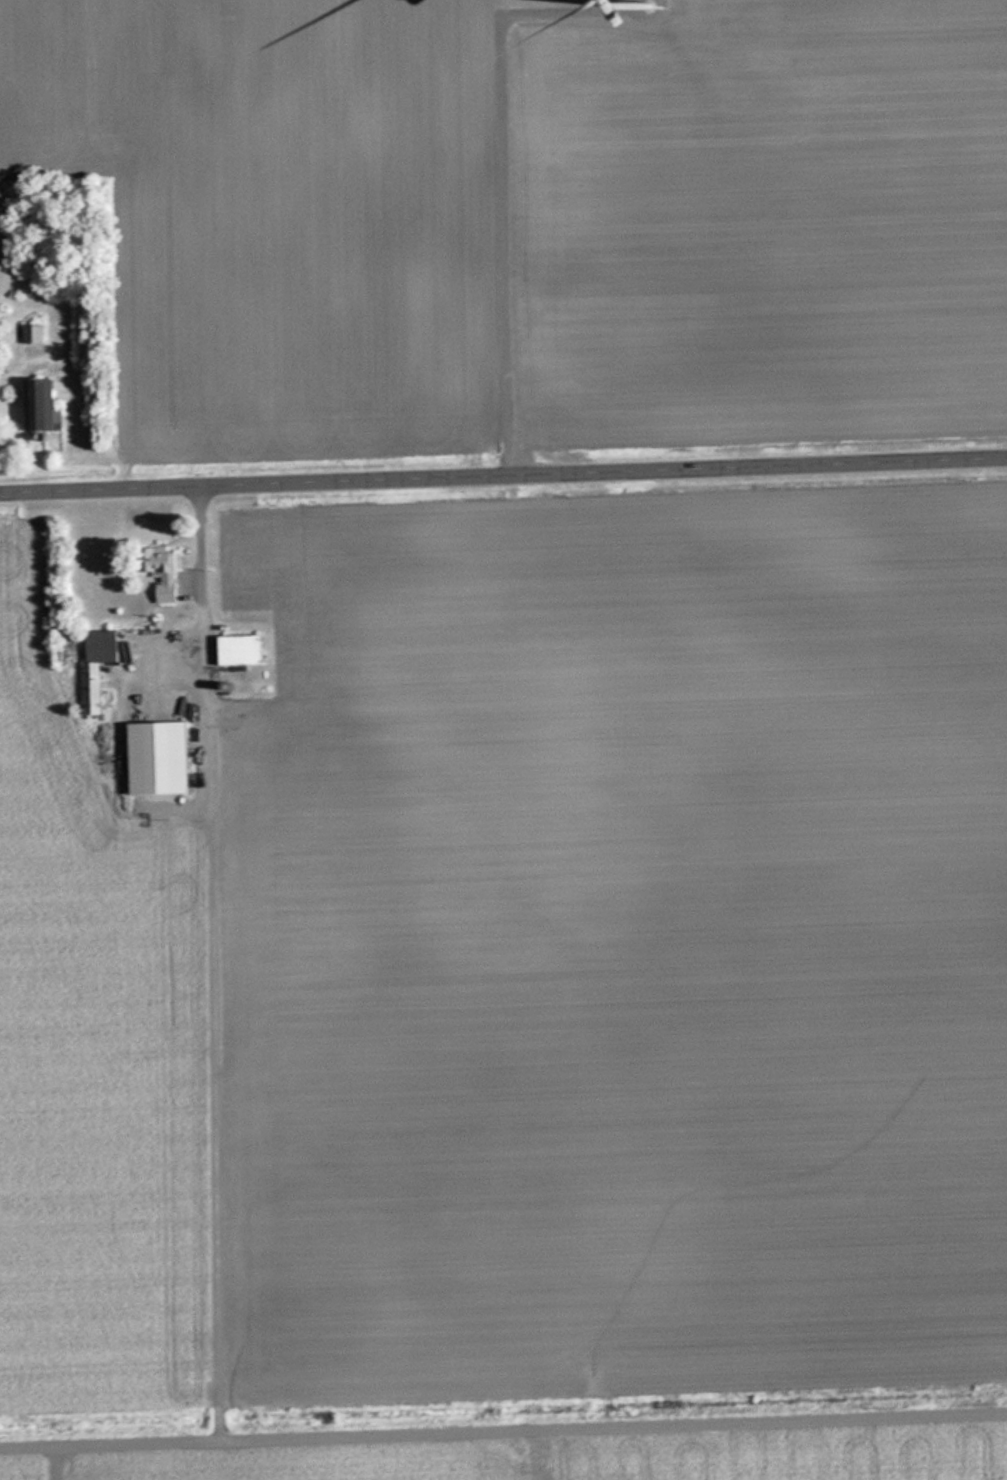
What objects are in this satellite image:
wind turbine: (657, 11)
building: (37, 333)
building: (44, 406)
road: (503, 471)
building: (169, 578)
building: (245, 650)
building: (100, 668)
building: (165, 759)

